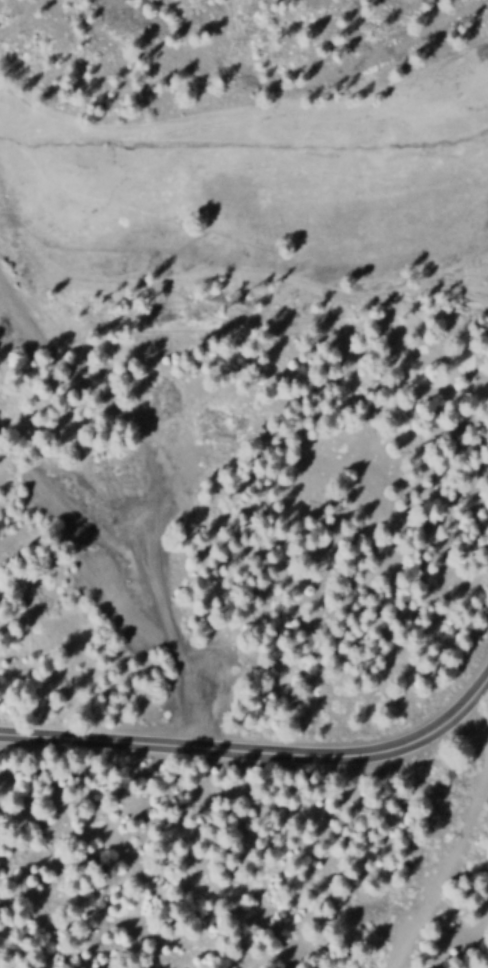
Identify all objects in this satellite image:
road: (477, 704)
road: (259, 748)

